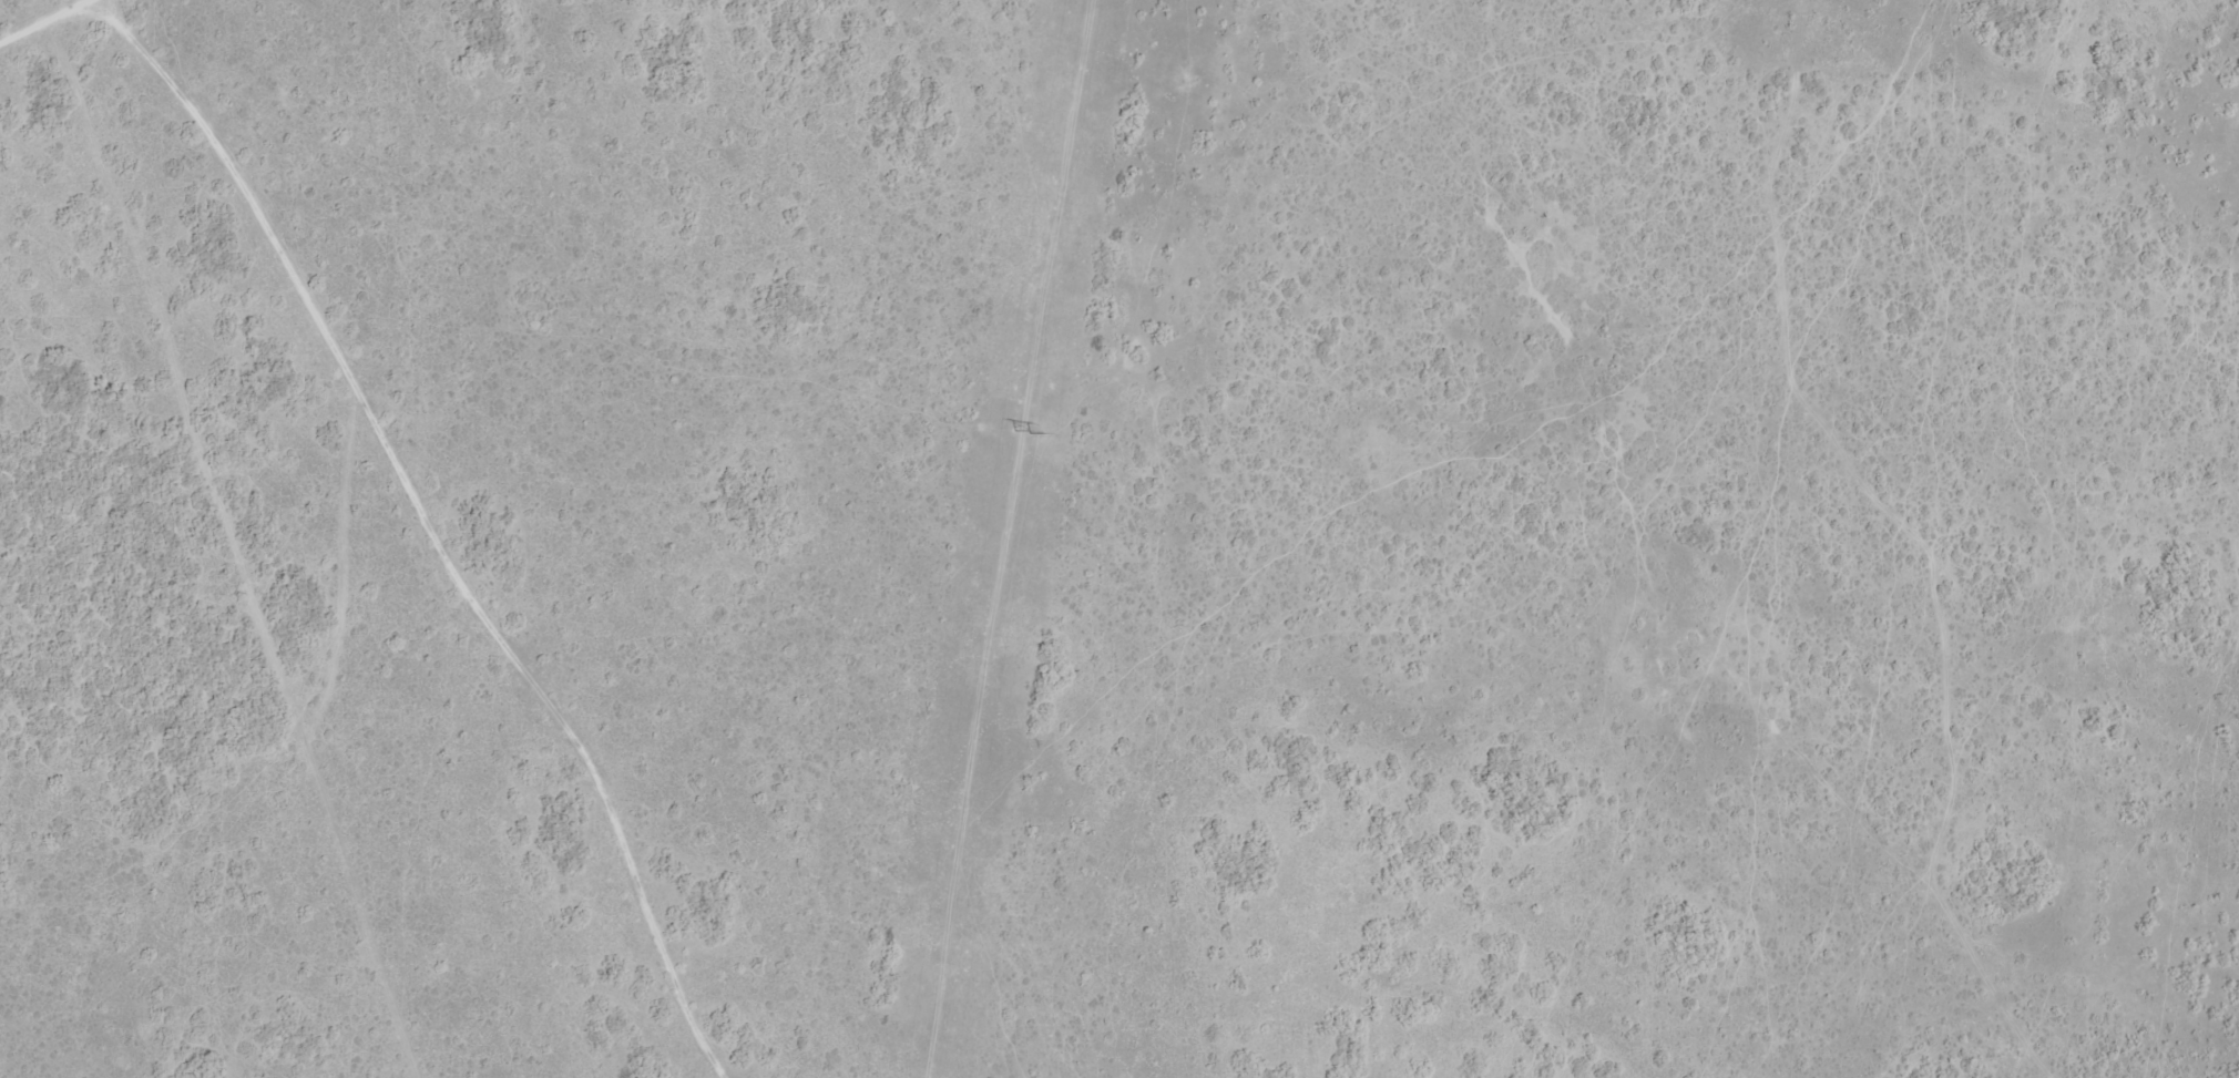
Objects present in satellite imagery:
power tower: (1021, 432)

